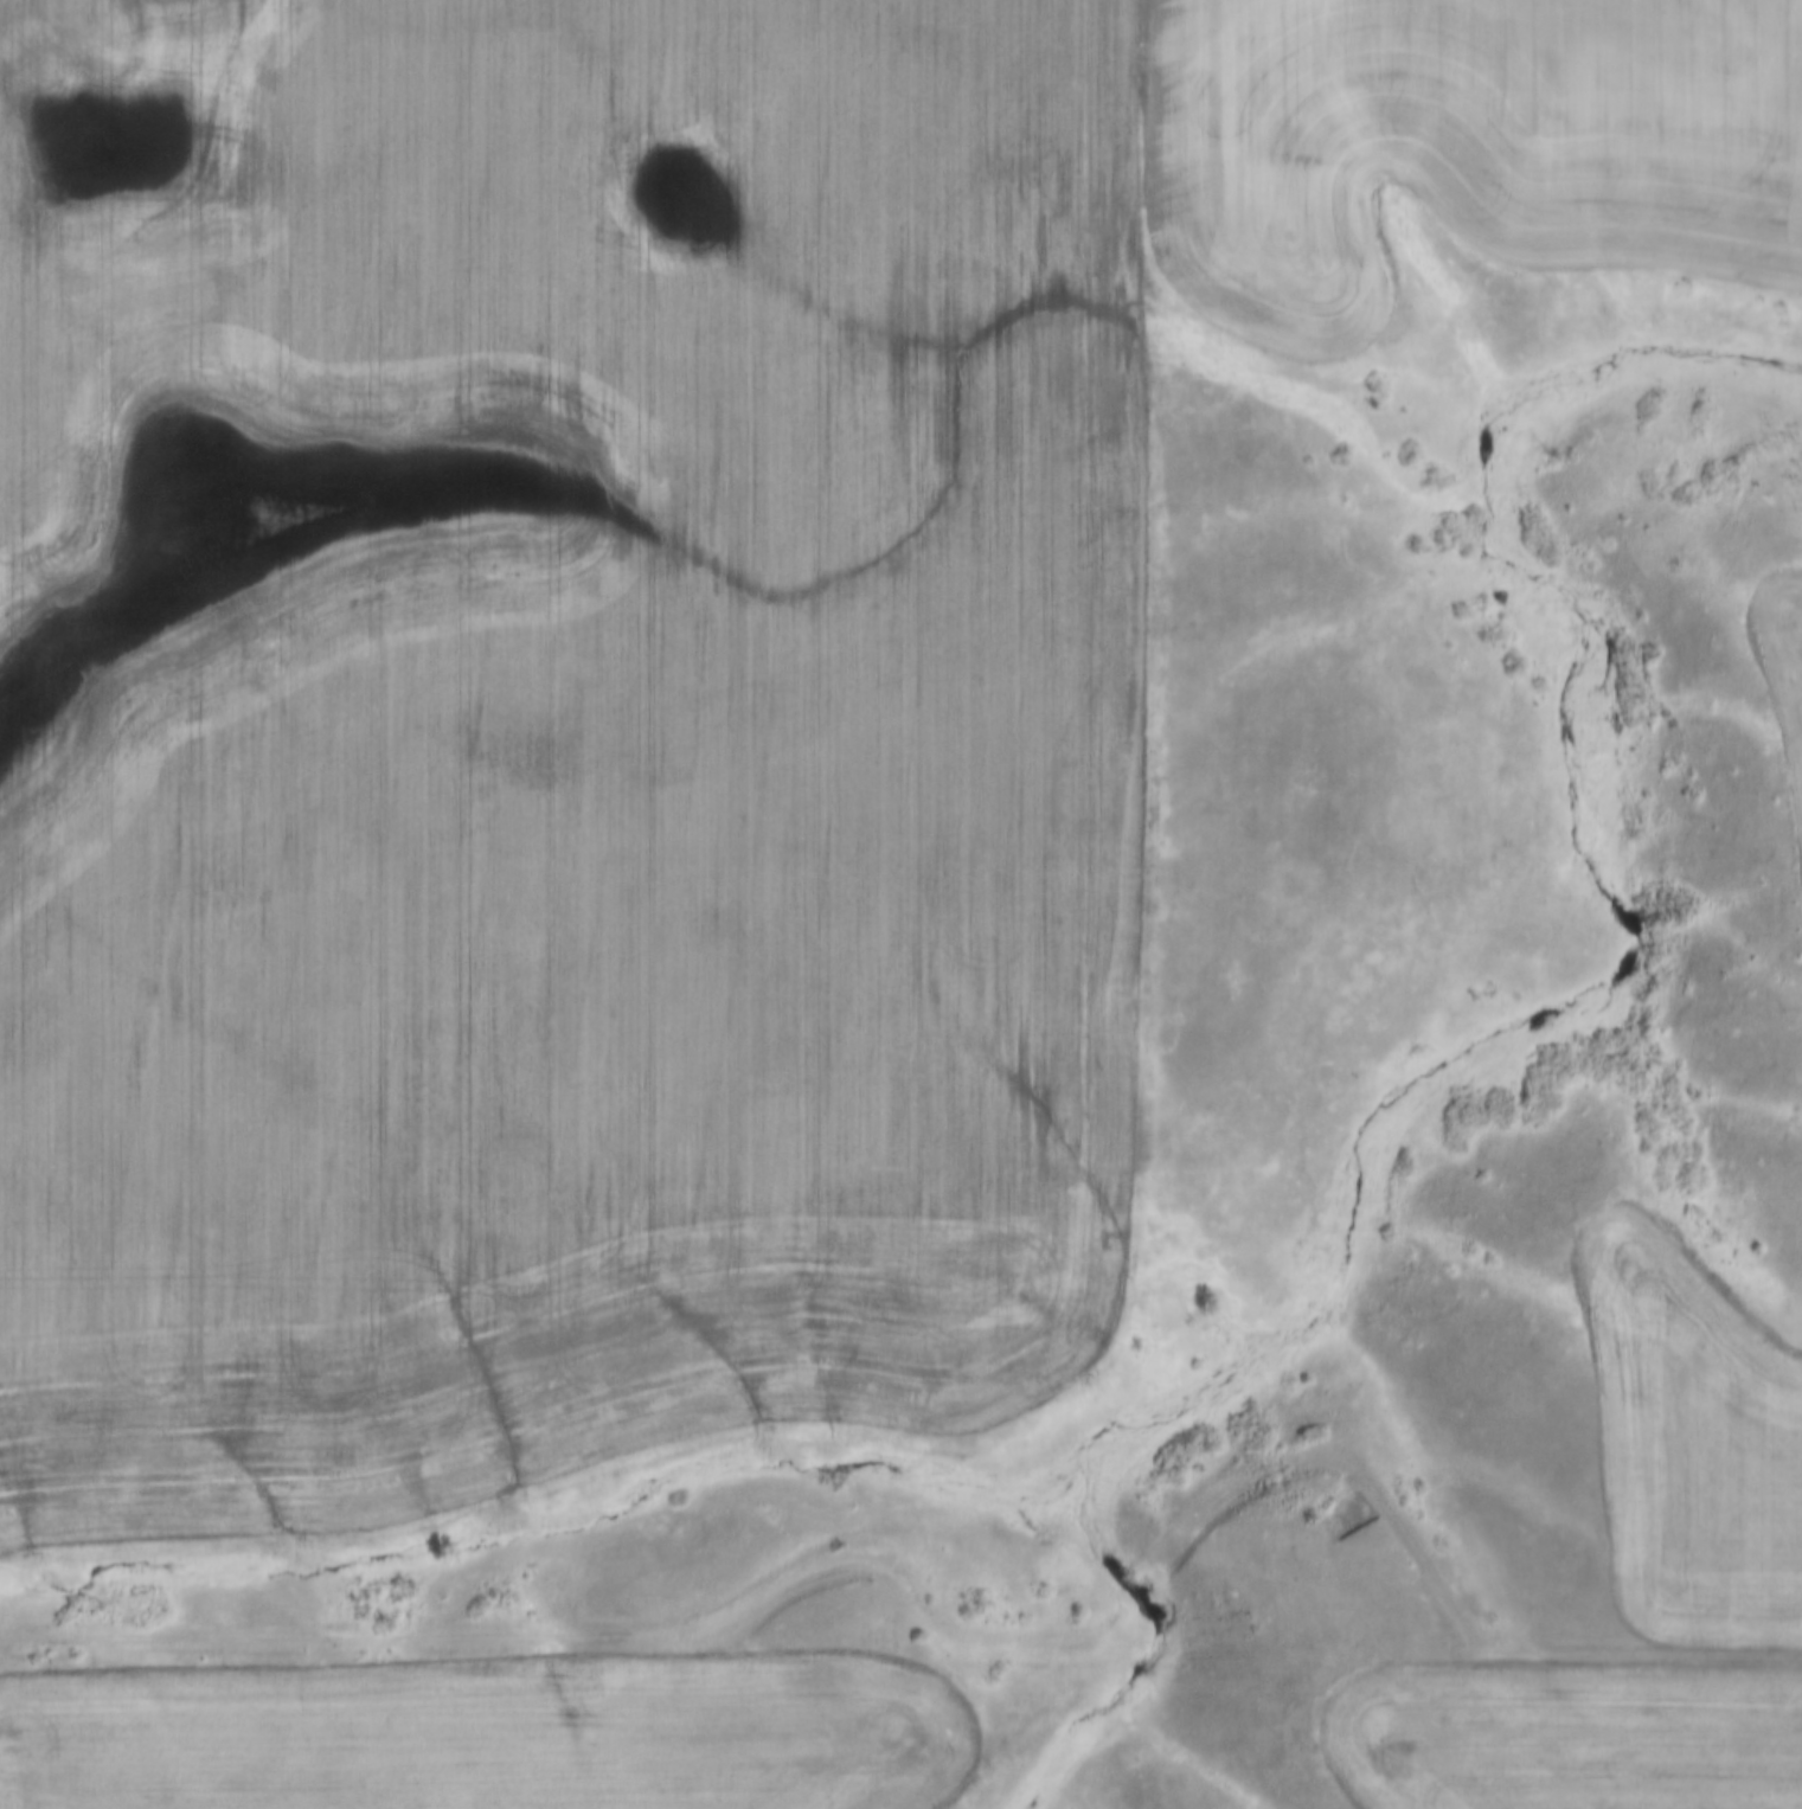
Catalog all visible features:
road: (900, 1554)

